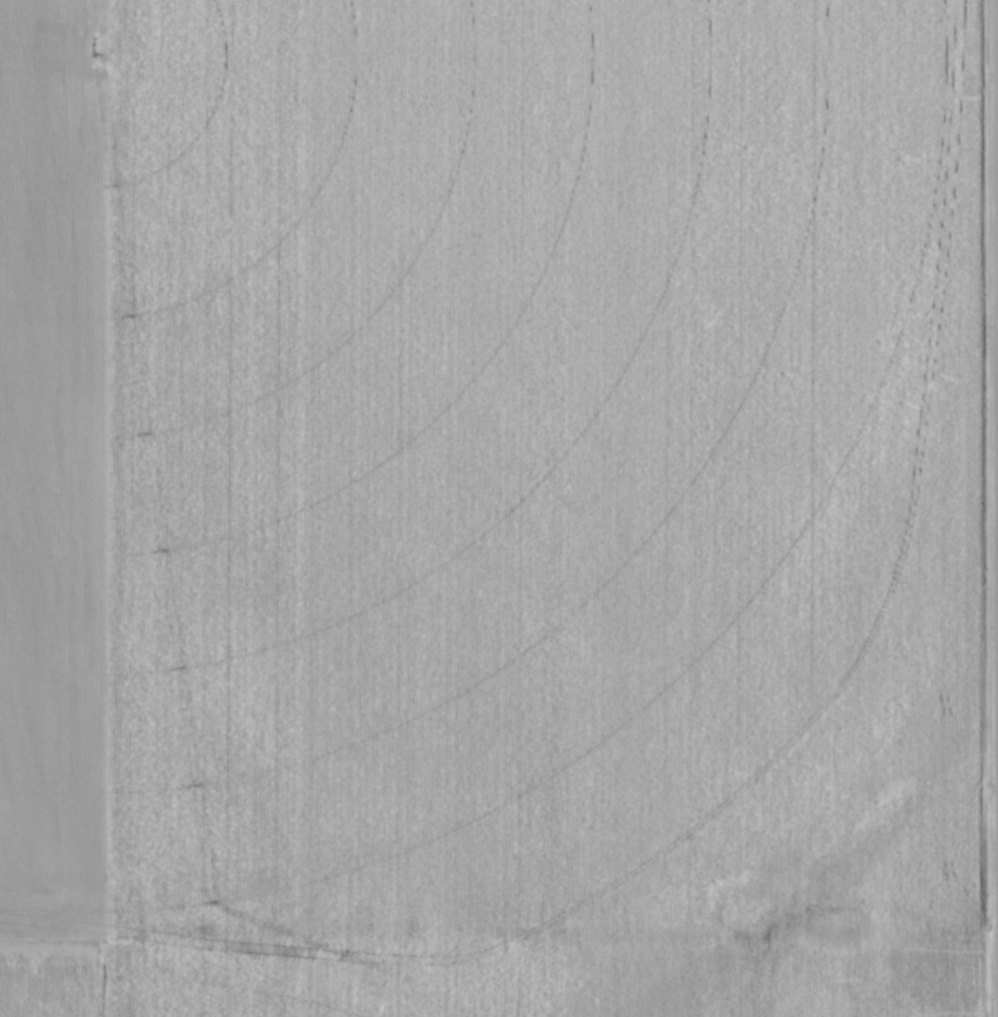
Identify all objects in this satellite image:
crop: (487, 508)
building: (166, 809)

